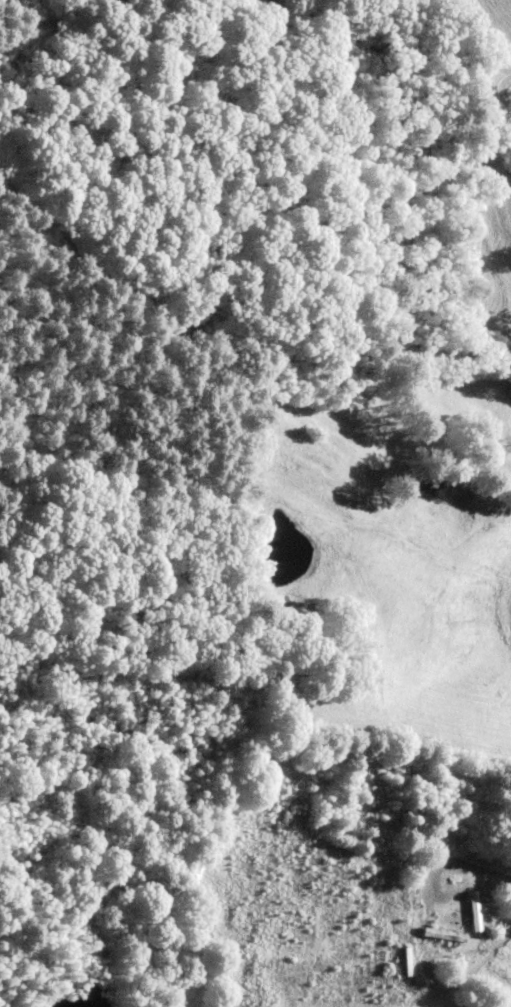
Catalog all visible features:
building: (442, 935)
building: (404, 962)

